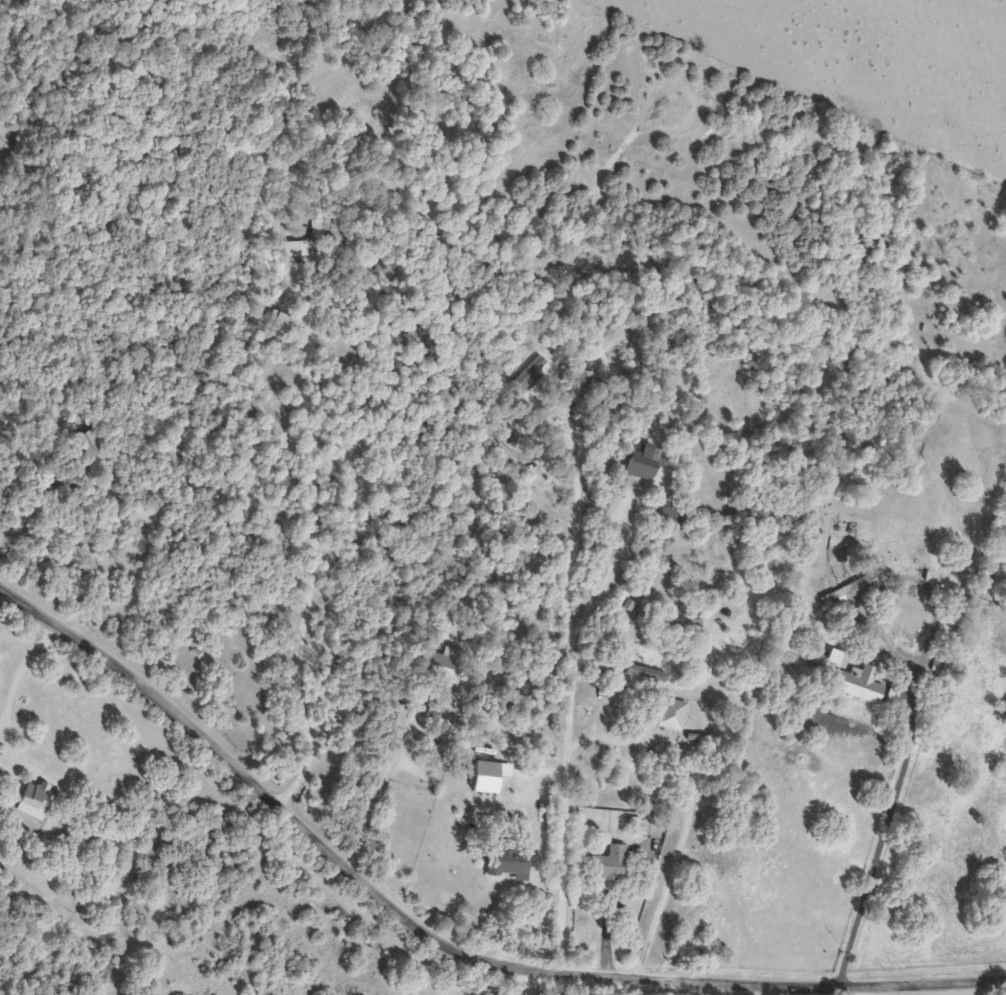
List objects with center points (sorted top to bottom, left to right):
building: (327, 225)
building: (314, 229)
building: (294, 248)
building: (530, 373)
building: (643, 462)
road: (21, 518)
road: (312, 556)
road: (602, 580)
building: (847, 590)
building: (447, 661)
road: (20, 665)
building: (646, 672)
building: (865, 685)
road: (563, 689)
building: (674, 714)
building: (397, 730)
building: (489, 776)
road: (377, 787)
building: (35, 800)
road: (688, 802)
road: (873, 852)
building: (616, 860)
building: (511, 863)
road: (441, 940)

